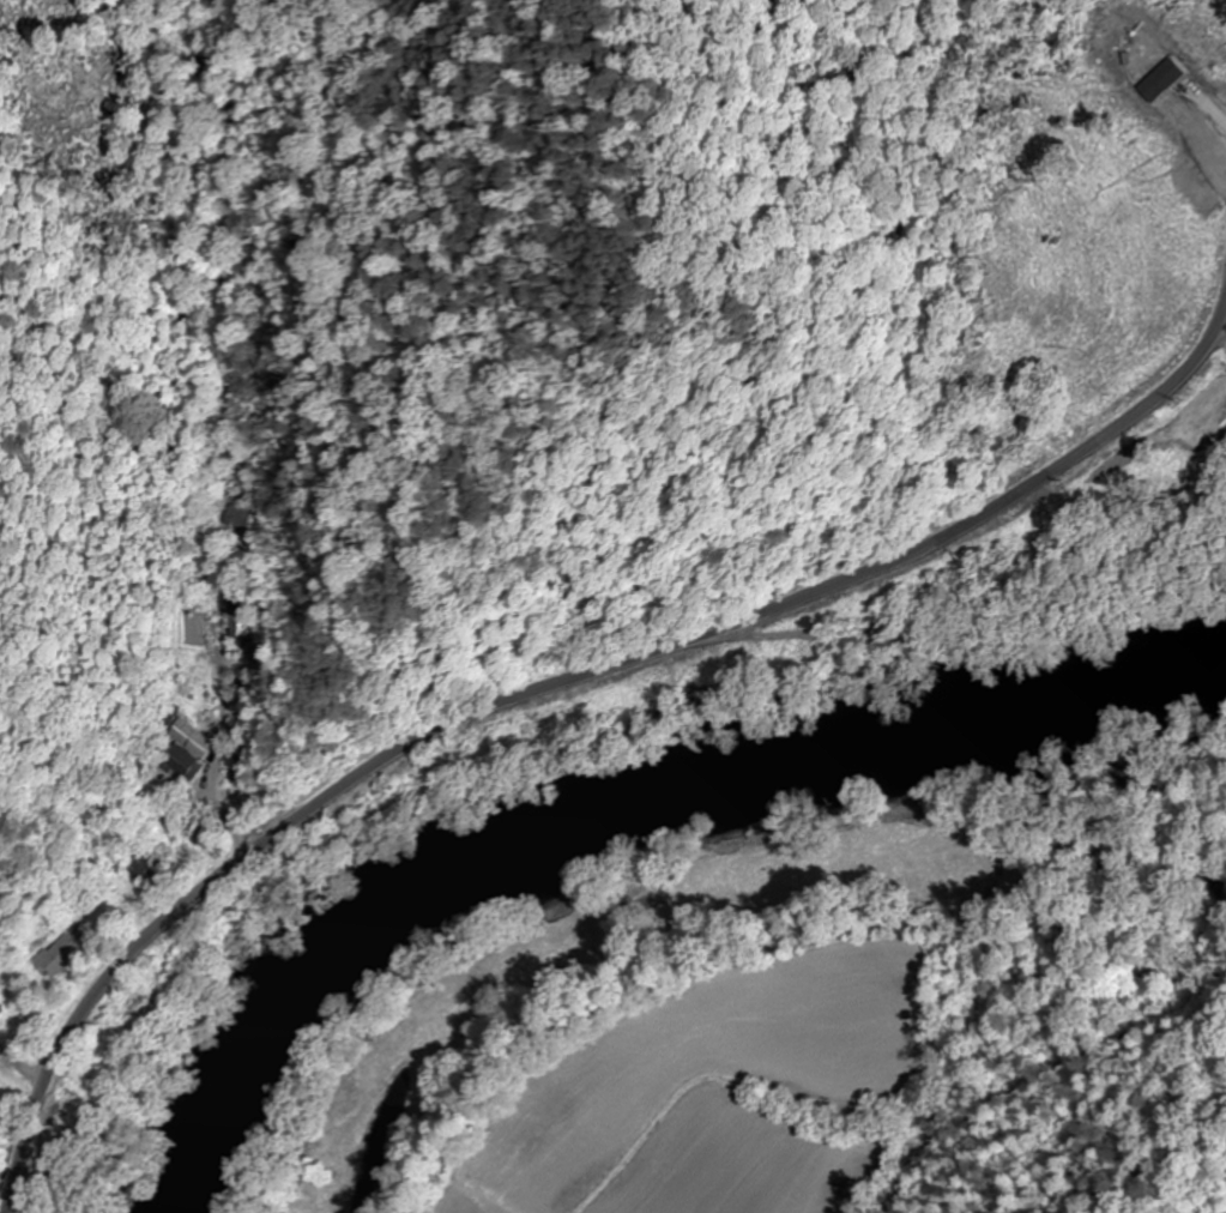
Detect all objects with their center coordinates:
building: (243, 517)
road: (555, 692)
building: (170, 717)
building: (182, 765)
river: (611, 783)
building: (140, 864)
building: (58, 956)
building: (0, 1013)

